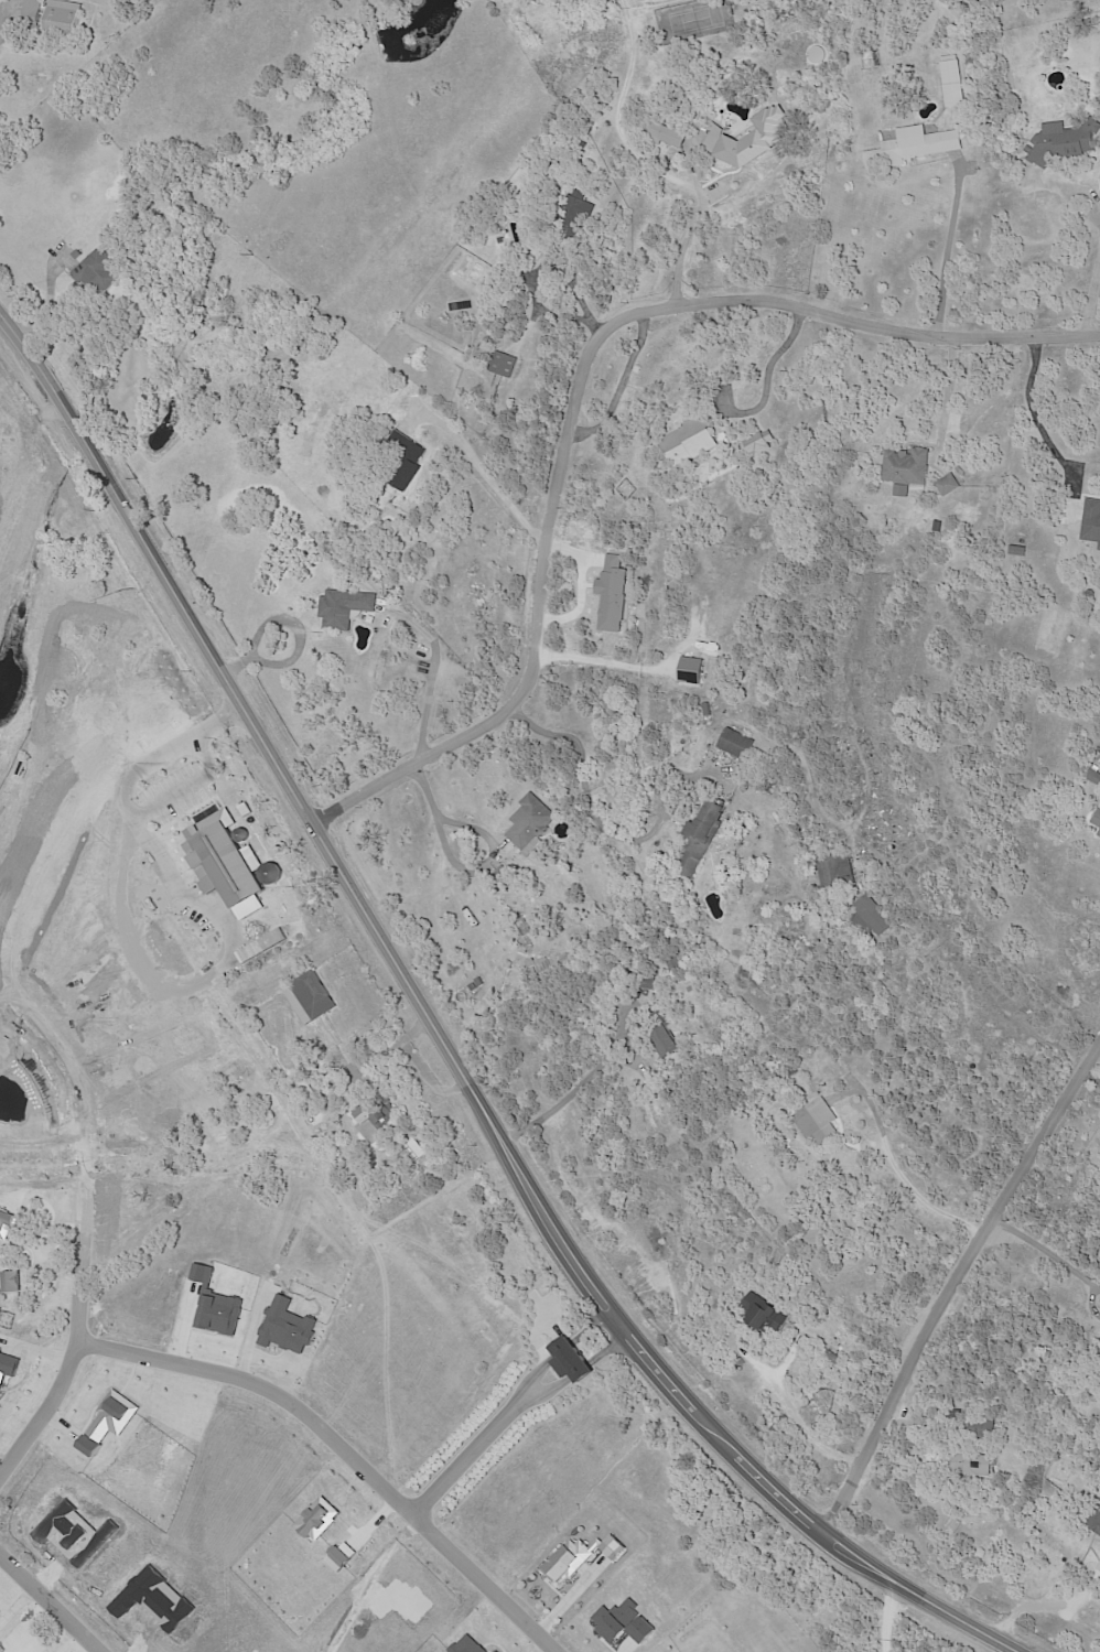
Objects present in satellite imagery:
building: (54, 17)
building: (951, 80)
building: (666, 137)
building: (746, 143)
building: (580, 144)
building: (1059, 144)
building: (912, 147)
building: (1027, 149)
road: (1072, 186)
building: (572, 214)
road: (691, 231)
building: (500, 240)
road: (948, 248)
road: (567, 268)
building: (99, 271)
road: (1092, 295)
building: (460, 305)
road: (778, 359)
building: (503, 365)
road: (580, 379)
road: (619, 382)
road: (948, 390)
building: (495, 410)
road: (1034, 411)
building: (687, 442)
building: (403, 460)
road: (483, 466)
building: (906, 467)
building: (759, 475)
building: (947, 485)
road: (128, 509)
building: (1091, 522)
building: (388, 531)
building: (1017, 551)
building: (369, 570)
building: (343, 607)
road: (435, 648)
road: (600, 657)
building: (754, 685)
building: (736, 745)
building: (1093, 776)
building: (766, 785)
road: (438, 811)
building: (1096, 818)
building: (529, 823)
building: (1098, 833)
building: (698, 838)
building: (226, 864)
building: (835, 870)
building: (504, 874)
building: (499, 884)
road: (225, 910)
building: (870, 916)
building: (675, 964)
building: (646, 980)
building: (473, 986)
building: (689, 989)
building: (313, 995)
building: (664, 1035)
road: (389, 1050)
road: (1091, 1077)
road: (558, 1100)
building: (374, 1116)
building: (816, 1121)
road: (893, 1167)
building: (471, 1216)
road: (570, 1240)
road: (1056, 1255)
road: (953, 1278)
road: (1098, 1287)
building: (761, 1314)
building: (840, 1341)
road: (71, 1356)
building: (833, 1356)
building: (955, 1413)
road: (798, 1416)
building: (985, 1428)
road: (336, 1451)
road: (468, 1451)
building: (973, 1464)
building: (1094, 1521)
road: (53, 1601)
road: (1043, 1605)
road: (887, 1613)
road: (64, 1638)

